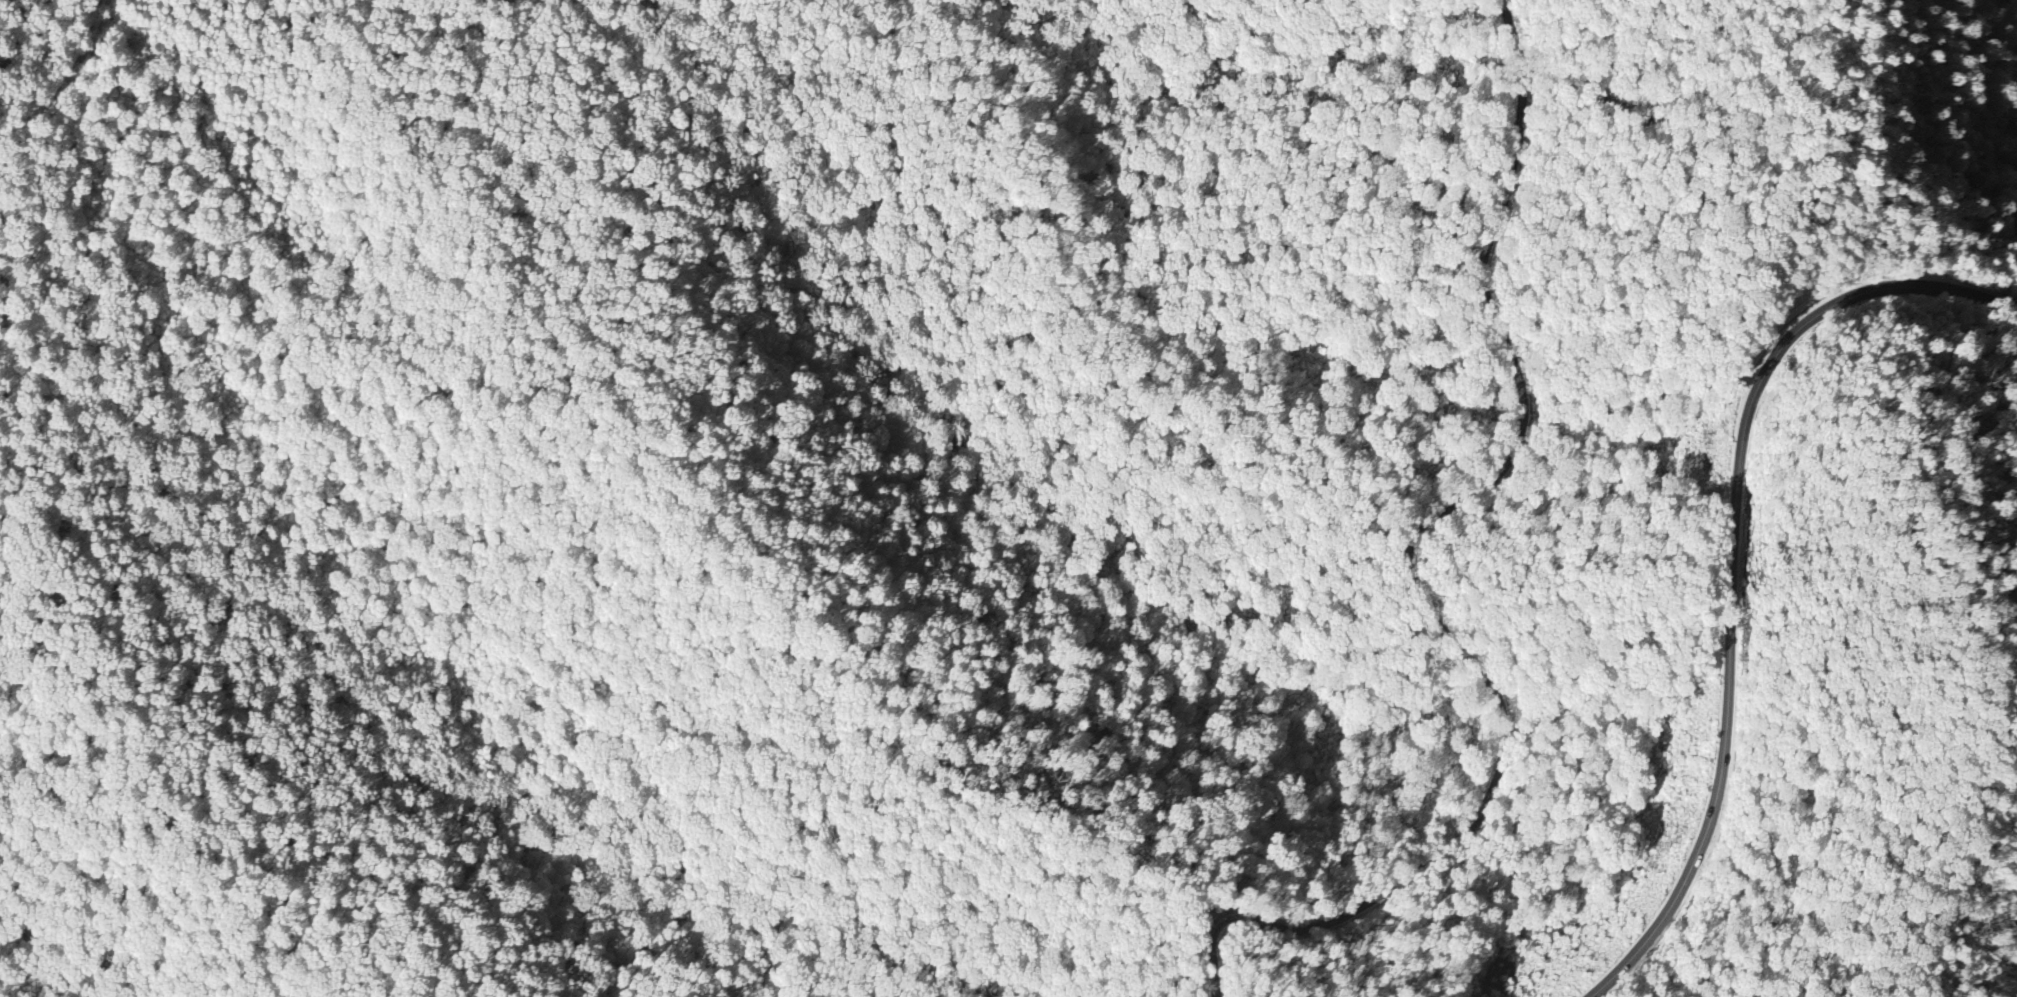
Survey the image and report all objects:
road: (79, 89)
road: (1734, 558)
road: (1414, 581)

